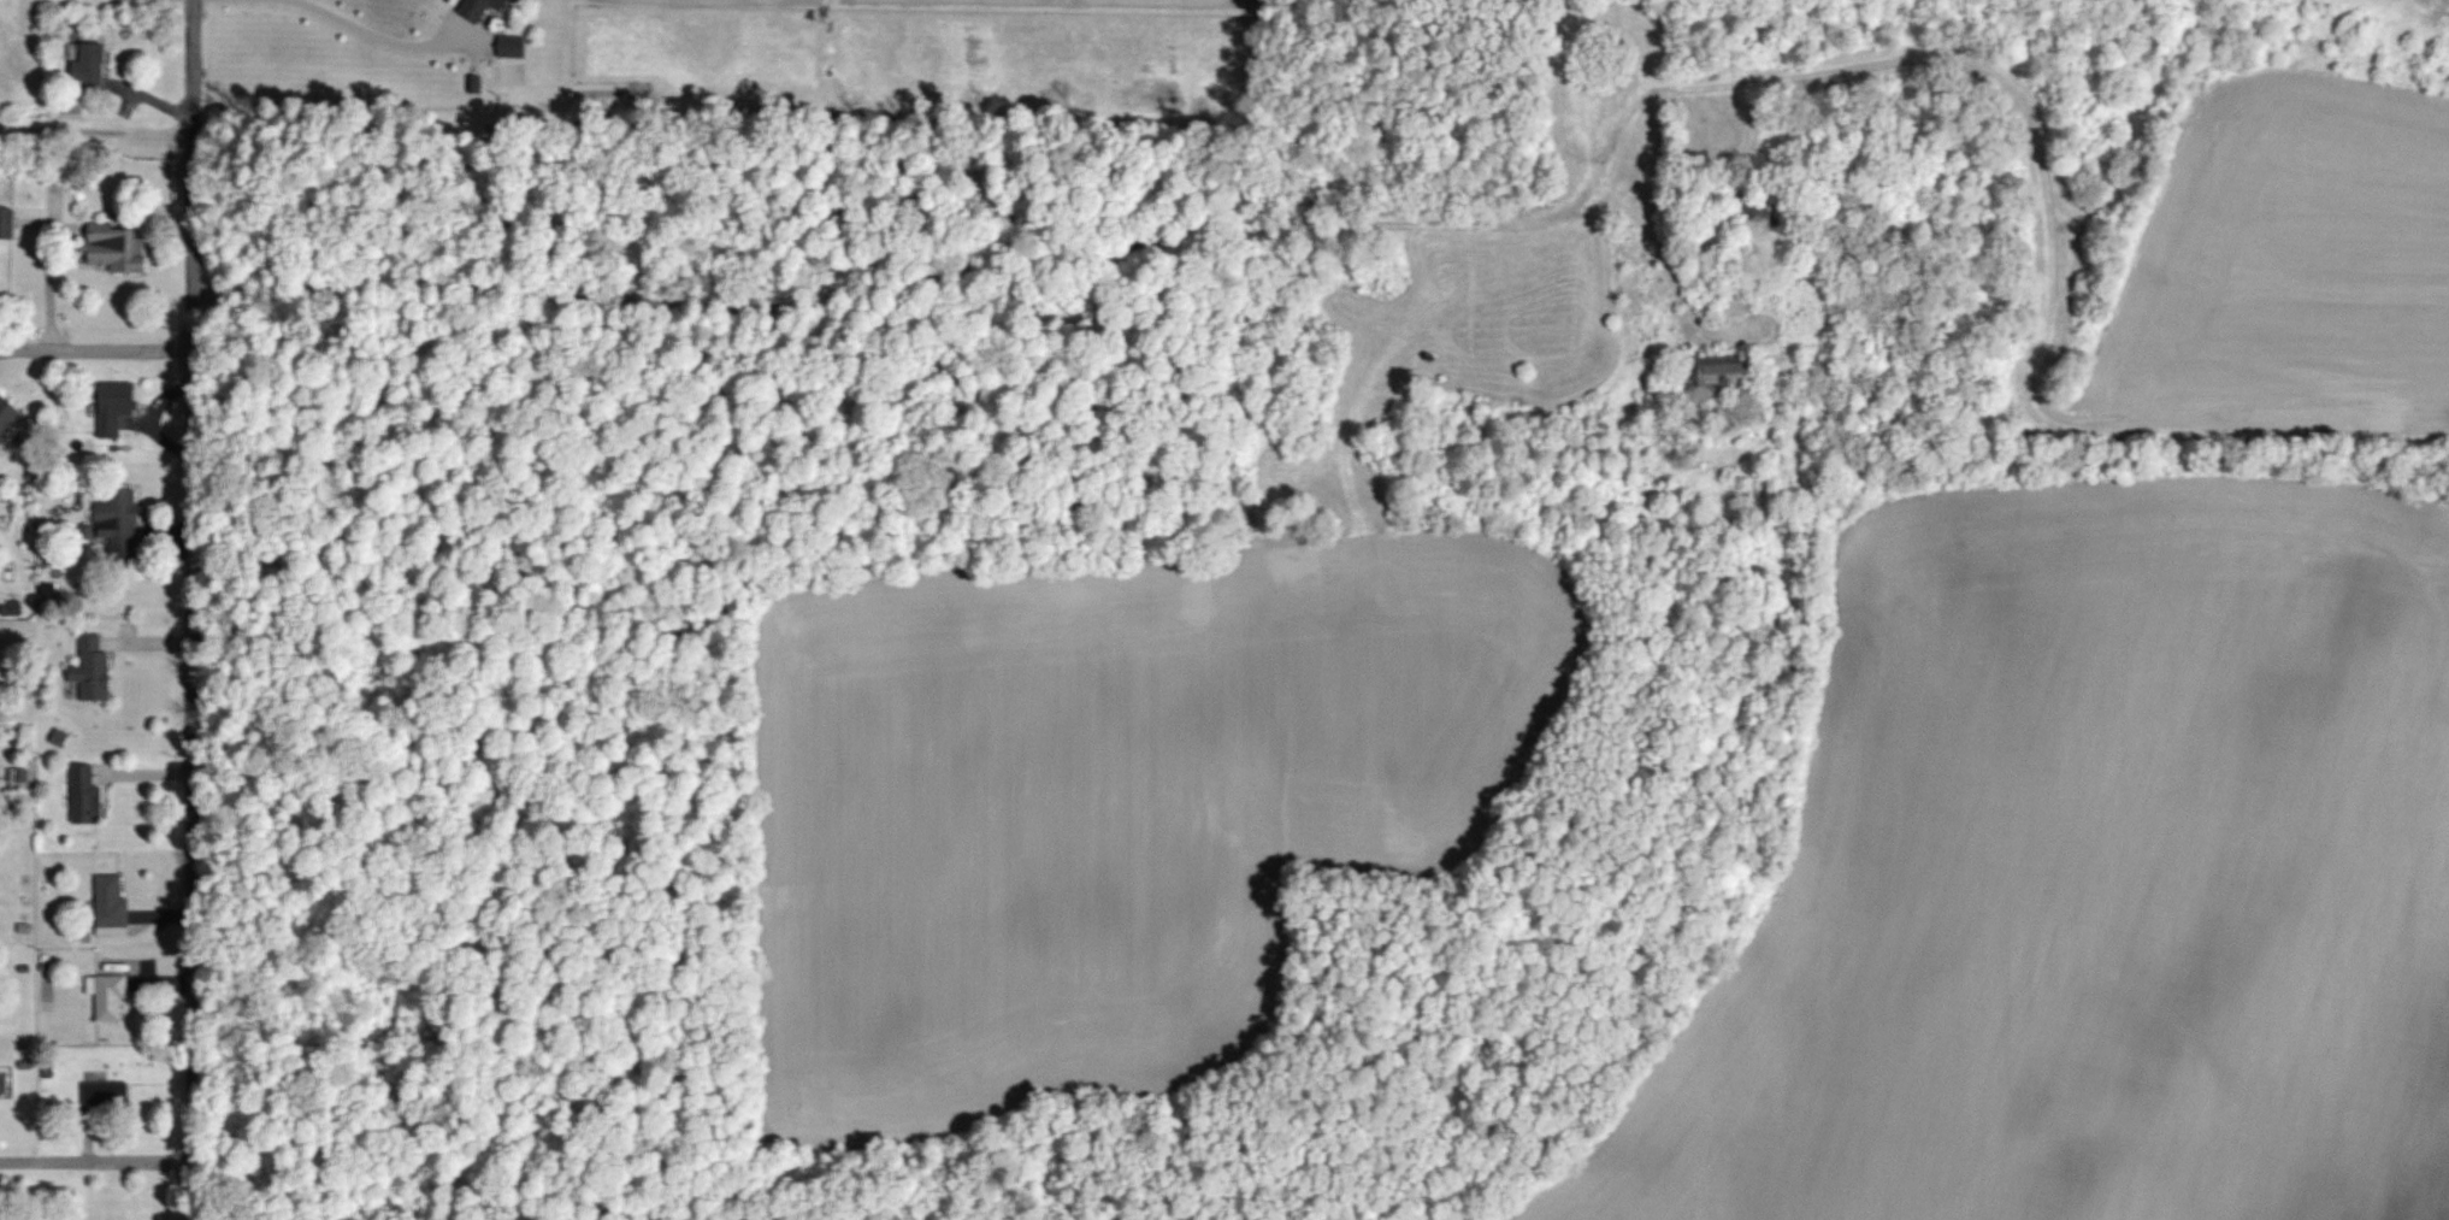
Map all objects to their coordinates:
building: (484, 7)
road: (378, 31)
building: (517, 46)
building: (94, 71)
road: (94, 124)
building: (8, 224)
building: (117, 249)
road: (48, 266)
road: (94, 344)
building: (1730, 377)
building: (117, 407)
building: (8, 414)
building: (119, 523)
road: (188, 609)
building: (95, 671)
building: (20, 778)
building: (88, 796)
building: (113, 907)
building: (108, 996)
building: (106, 1094)
road: (94, 1161)

